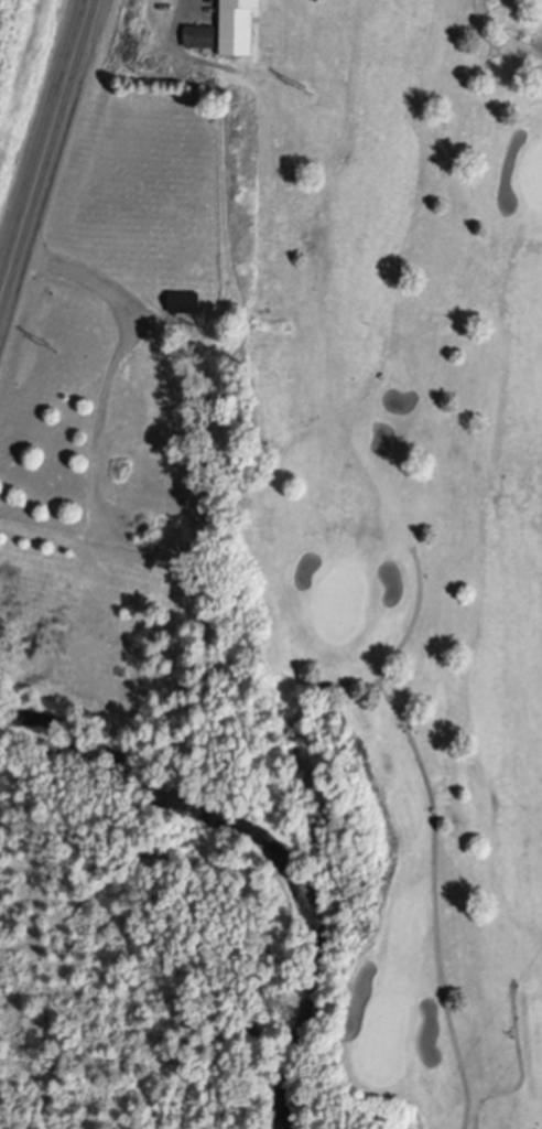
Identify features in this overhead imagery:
building: (237, 26)
building: (200, 36)
power tower: (307, 90)
road: (46, 155)
building: (184, 302)
road: (123, 330)
power tower: (53, 347)
park: (420, 553)

